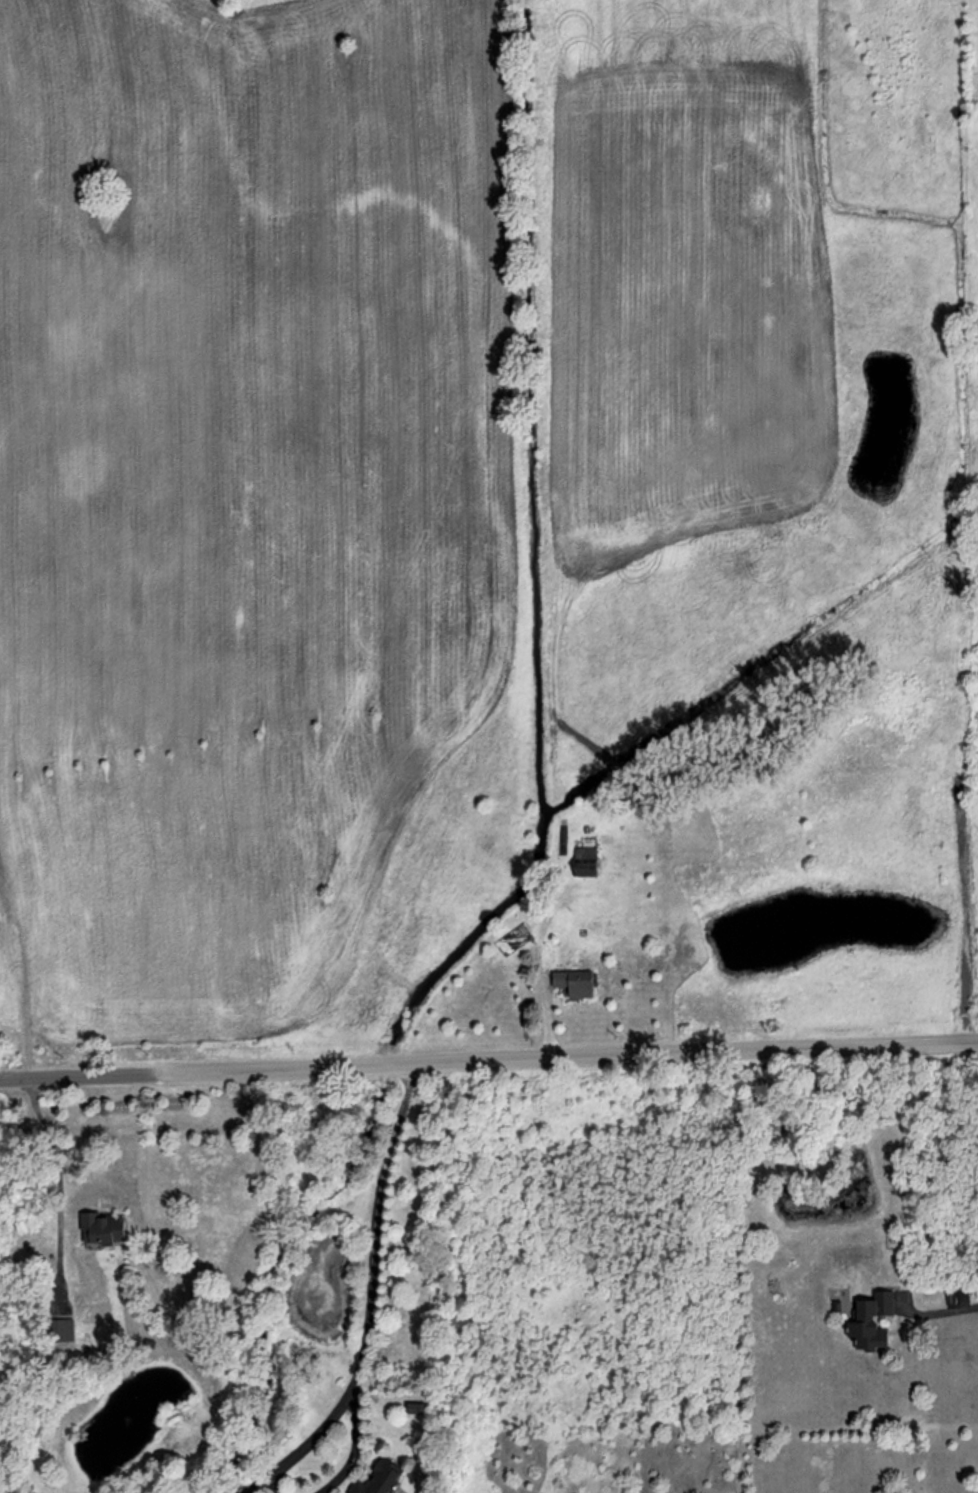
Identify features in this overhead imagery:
building: (588, 862)
building: (576, 983)
road: (581, 1056)
road: (92, 1080)
road: (59, 1168)
building: (105, 1229)
road: (368, 1297)
road: (939, 1313)
building: (867, 1317)
road: (355, 1447)
building: (380, 1478)
road: (276, 1483)

